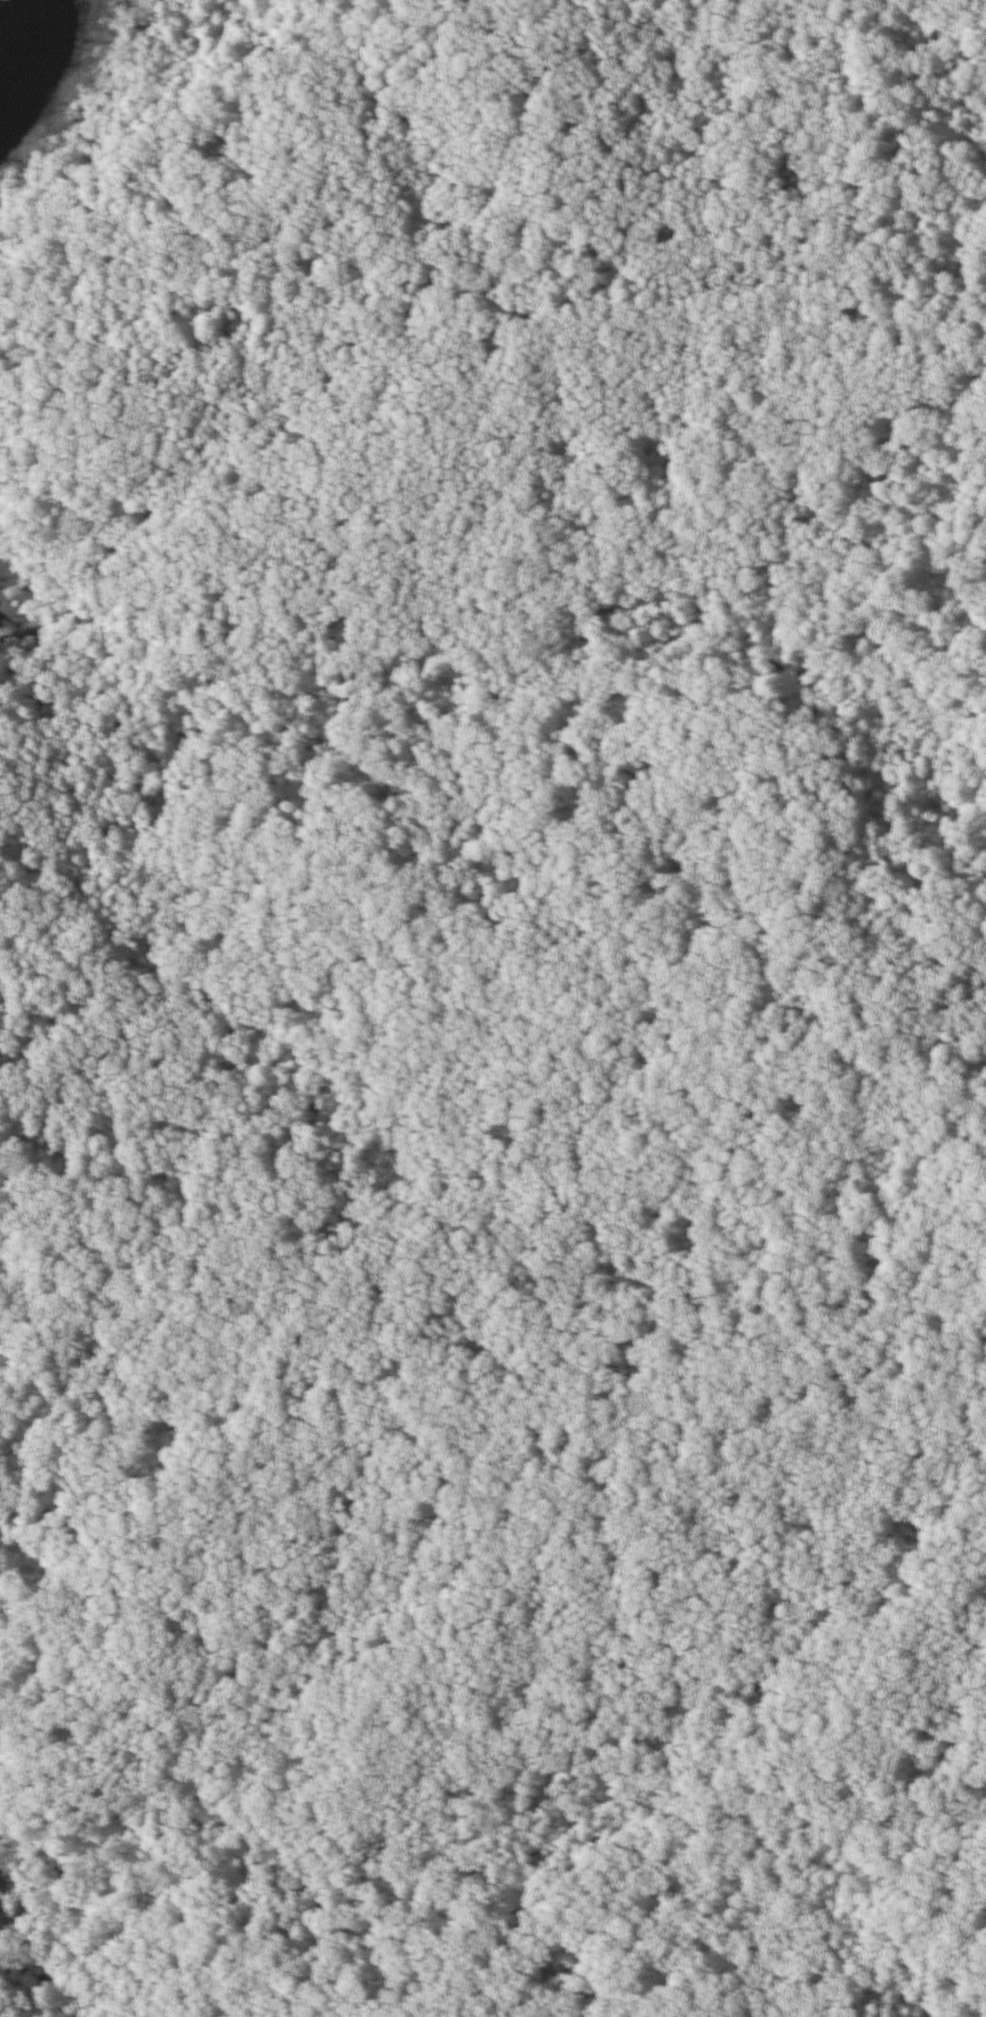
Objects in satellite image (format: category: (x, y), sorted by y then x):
road: (475, 1416)

